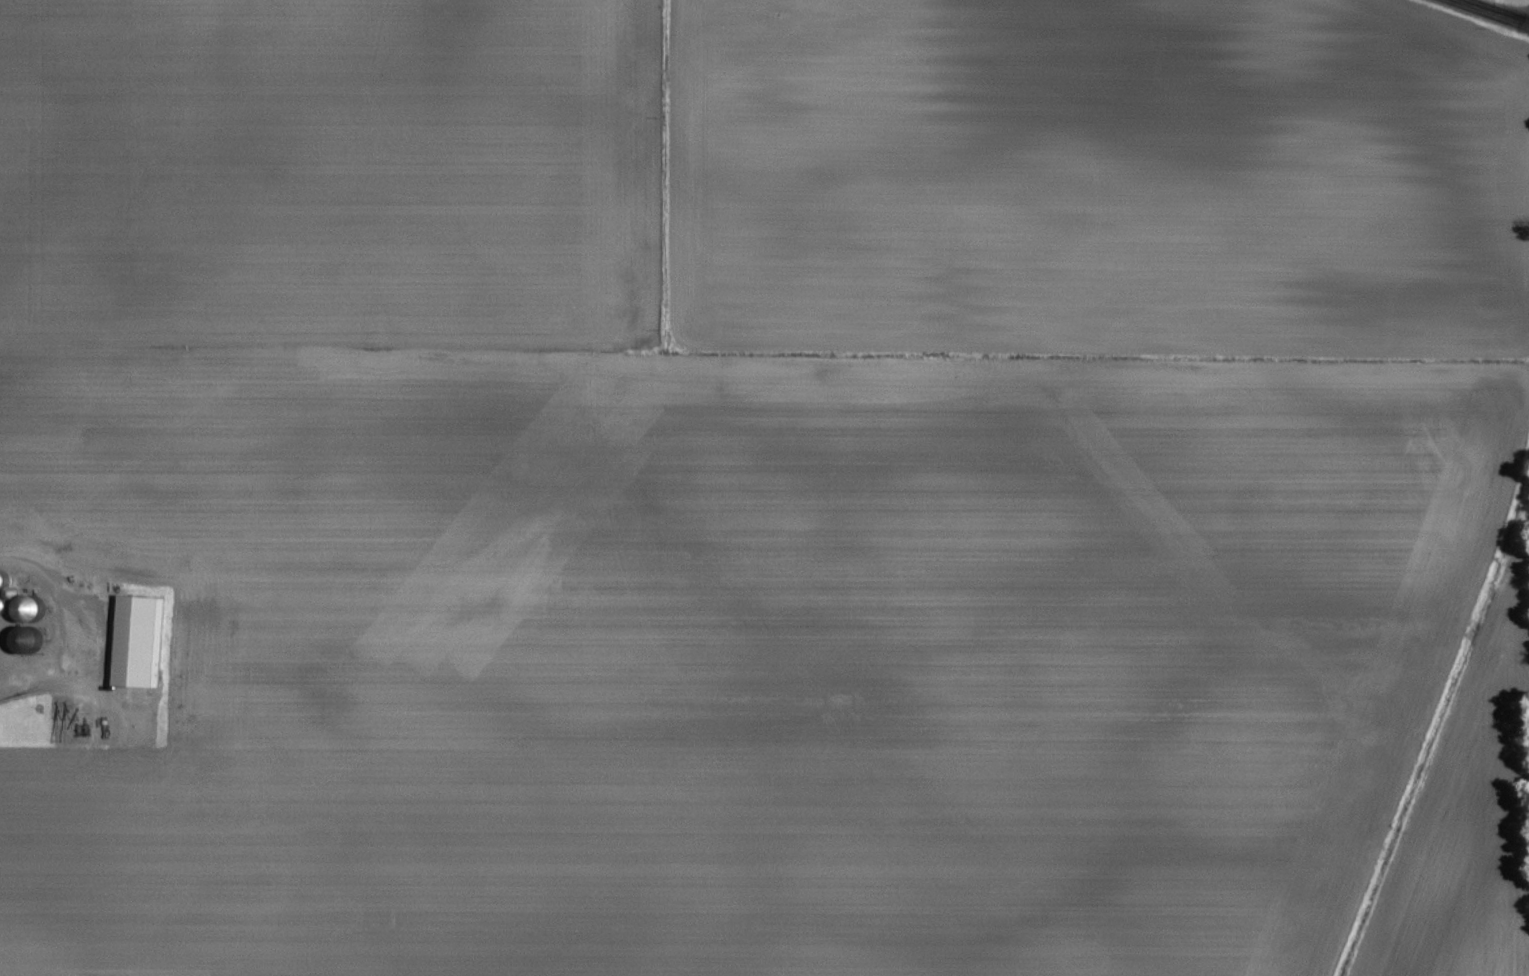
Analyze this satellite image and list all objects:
road: (1498, 10)
road: (78, 635)
building: (140, 640)

